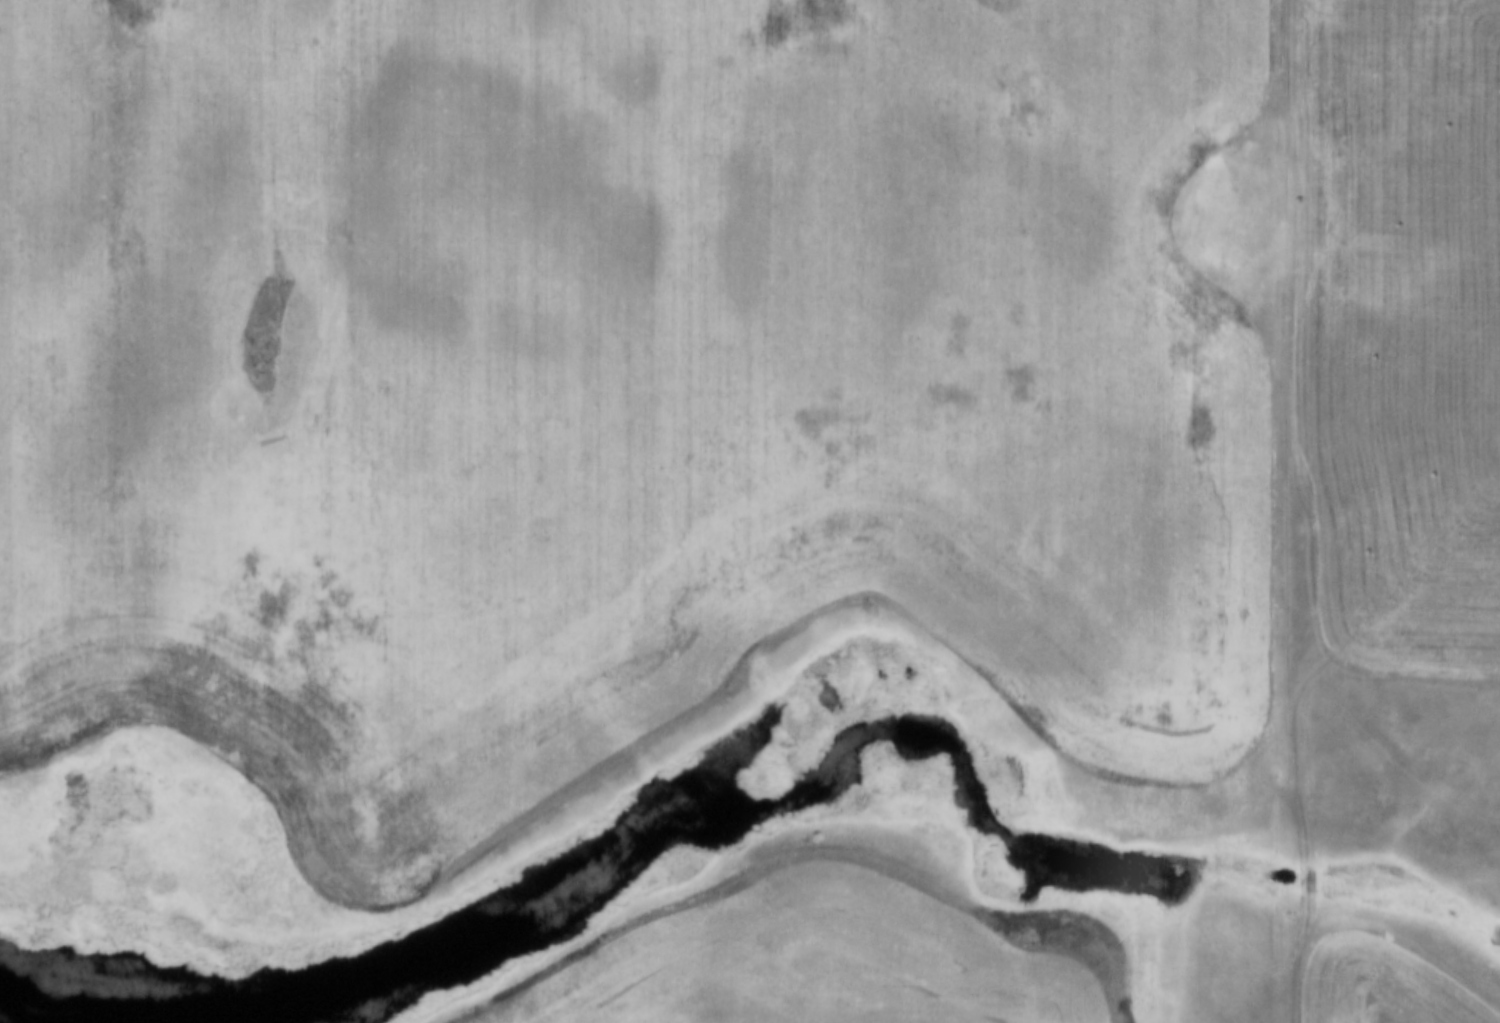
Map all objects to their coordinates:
road: (1287, 513)

